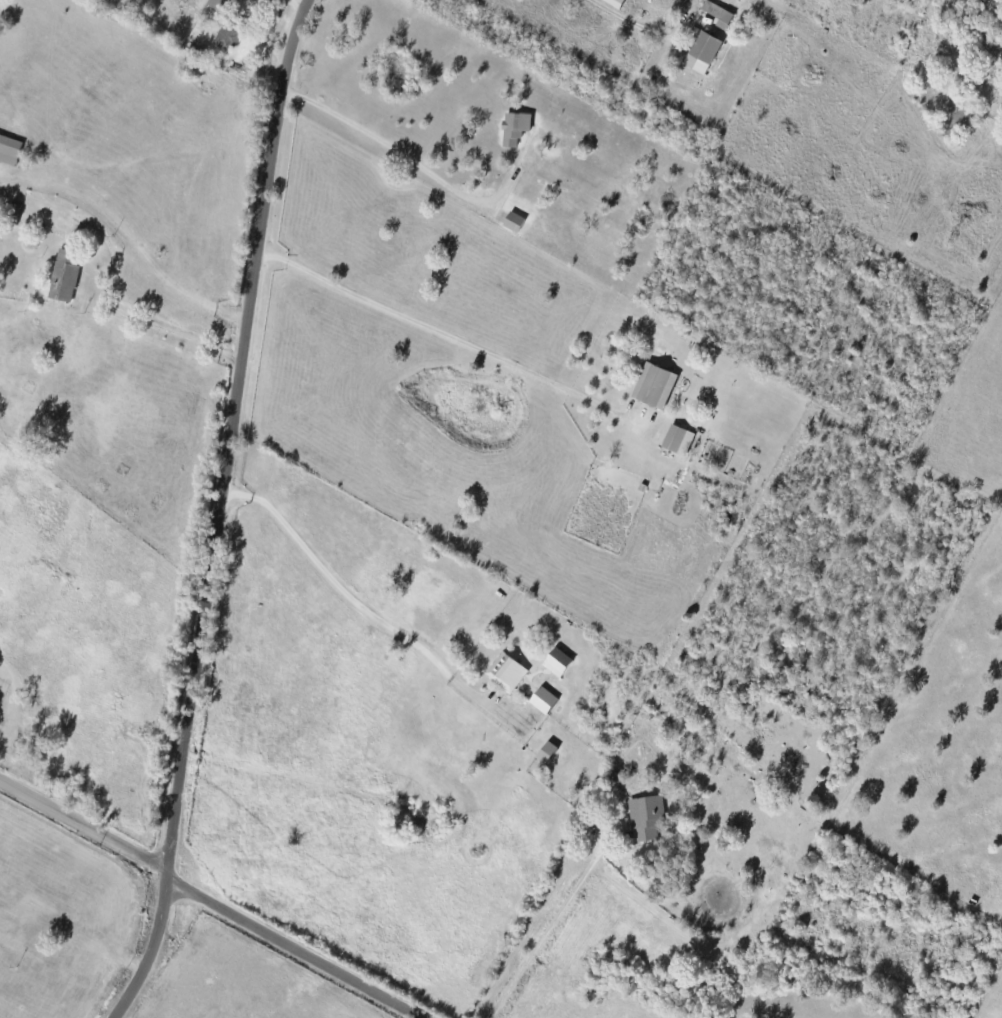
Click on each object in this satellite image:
building: (614, 2)
building: (215, 3)
building: (717, 13)
road: (644, 23)
building: (229, 32)
building: (702, 52)
building: (515, 127)
road: (389, 140)
building: (9, 150)
building: (513, 222)
building: (65, 275)
road: (180, 284)
road: (118, 310)
road: (447, 329)
building: (654, 385)
building: (678, 439)
road: (220, 512)
road: (363, 599)
building: (557, 661)
building: (507, 671)
building: (543, 699)
building: (546, 751)
building: (647, 816)
road: (203, 896)
road: (556, 929)

